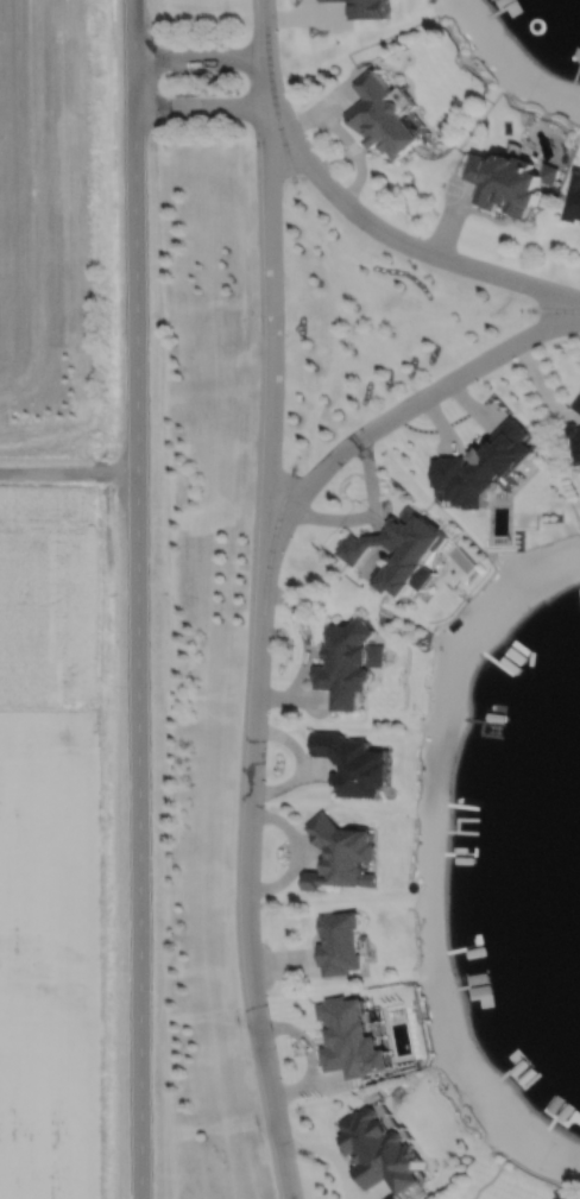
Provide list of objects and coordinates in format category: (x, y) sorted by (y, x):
building: (368, 8)
road: (132, 29)
road: (264, 29)
road: (198, 57)
road: (201, 108)
building: (384, 115)
building: (509, 182)
building: (574, 201)
road: (401, 239)
road: (271, 311)
building: (578, 405)
road: (396, 414)
building: (575, 441)
building: (484, 468)
road: (68, 471)
building: (396, 548)
road: (137, 627)
building: (348, 660)
building: (353, 762)
crop: (48, 844)
building: (343, 848)
road: (246, 884)
building: (340, 942)
building: (352, 1040)
building: (380, 1151)
road: (329, 1154)

